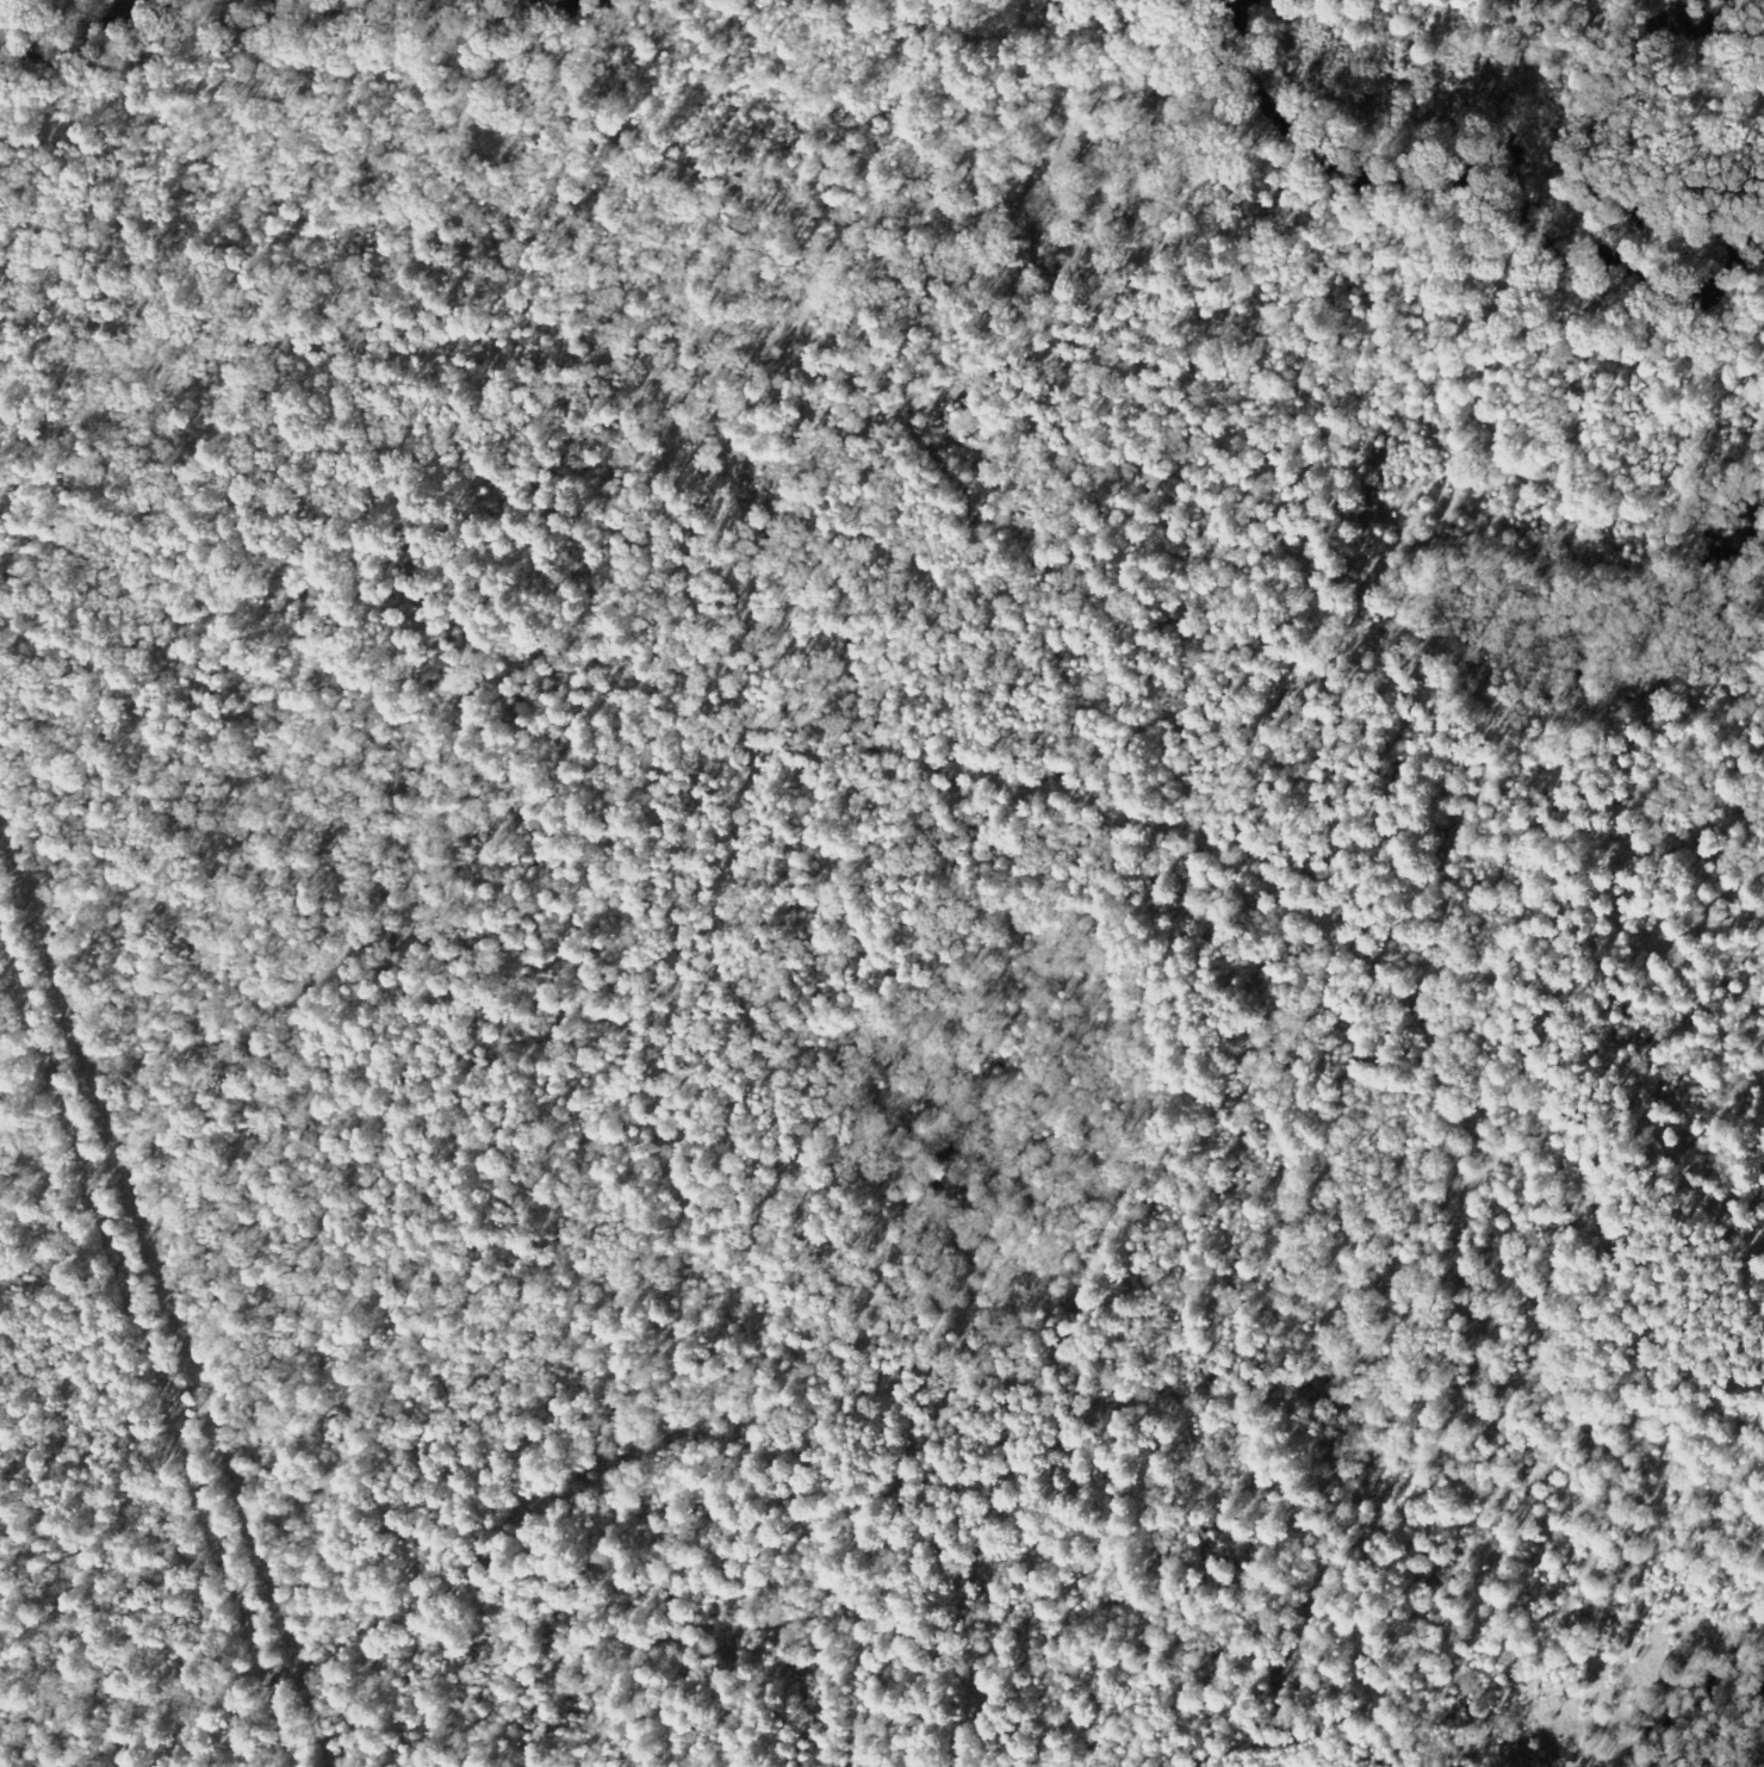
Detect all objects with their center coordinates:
river: (1464, 79)
road: (1485, 1453)

